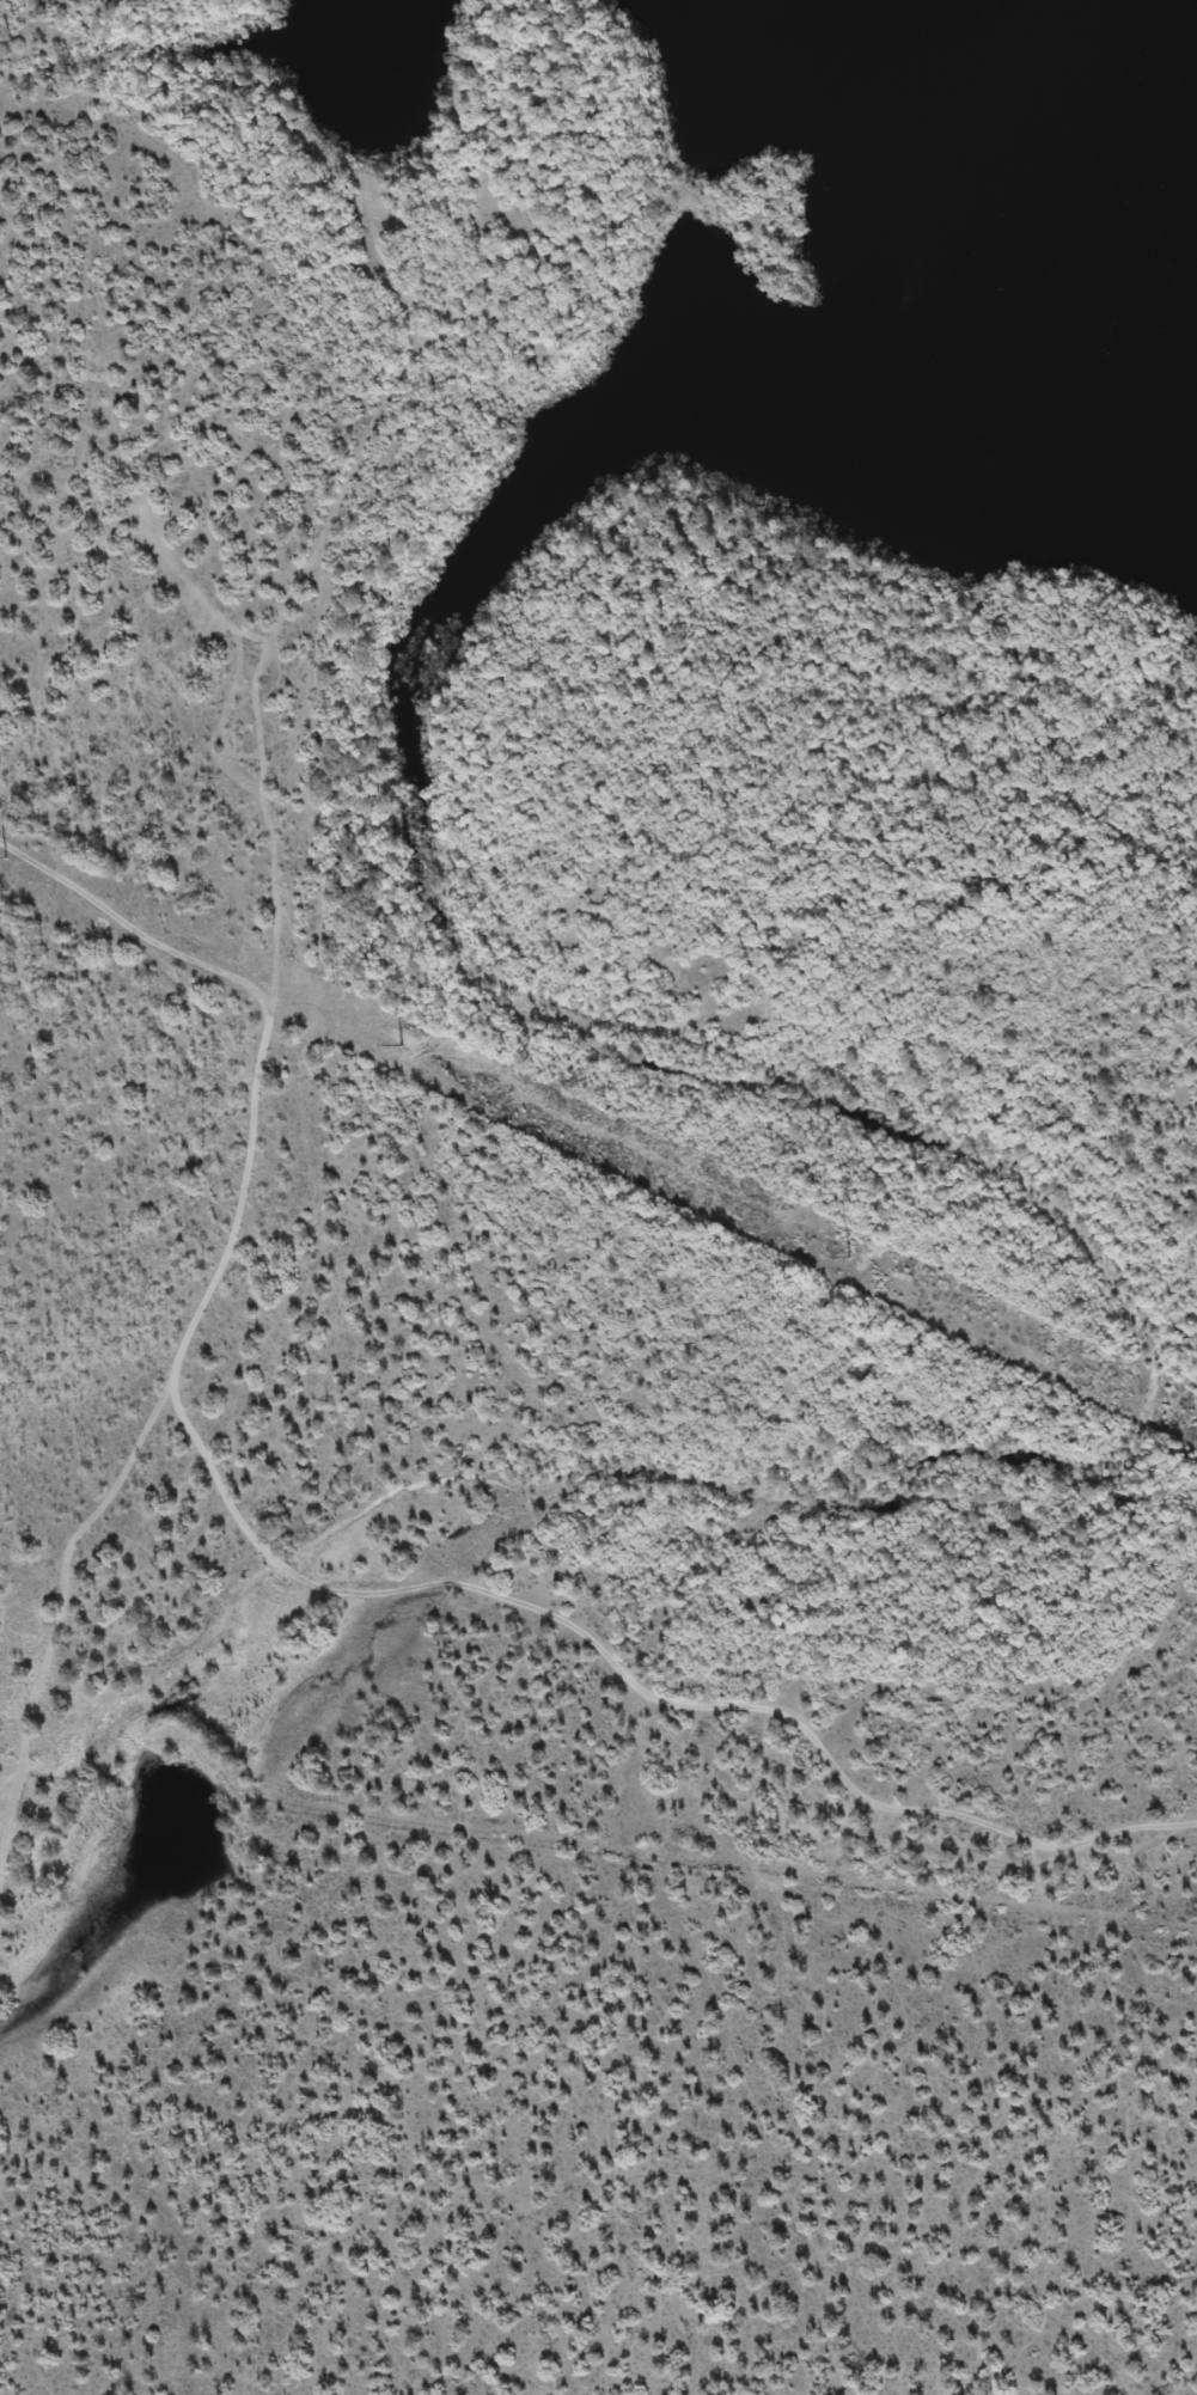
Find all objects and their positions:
road: (314, 561)
road: (199, 1336)
road: (623, 1741)

